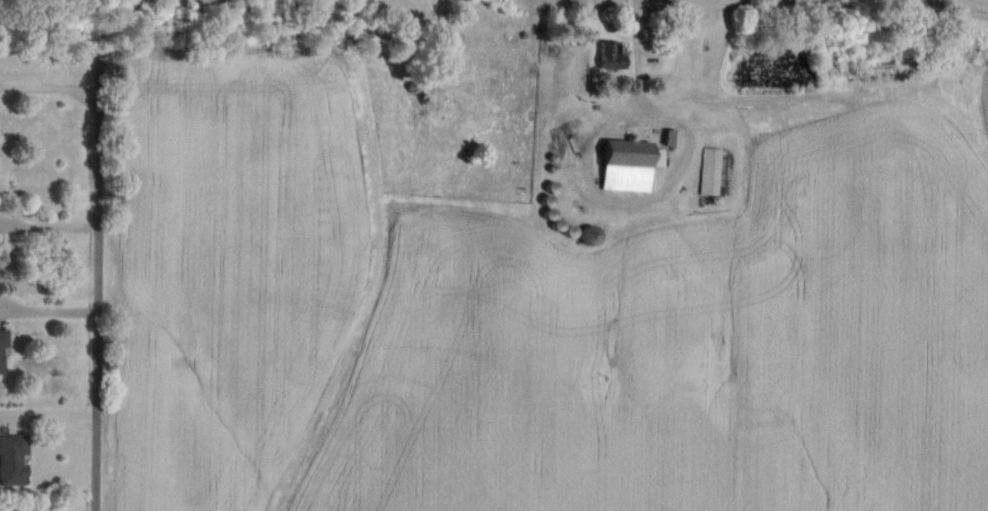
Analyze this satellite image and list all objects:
road: (636, 56)
building: (613, 57)
road: (50, 89)
building: (631, 165)
building: (713, 171)
road: (50, 227)
road: (99, 255)
road: (49, 312)
building: (4, 349)
road: (48, 415)
building: (14, 460)

